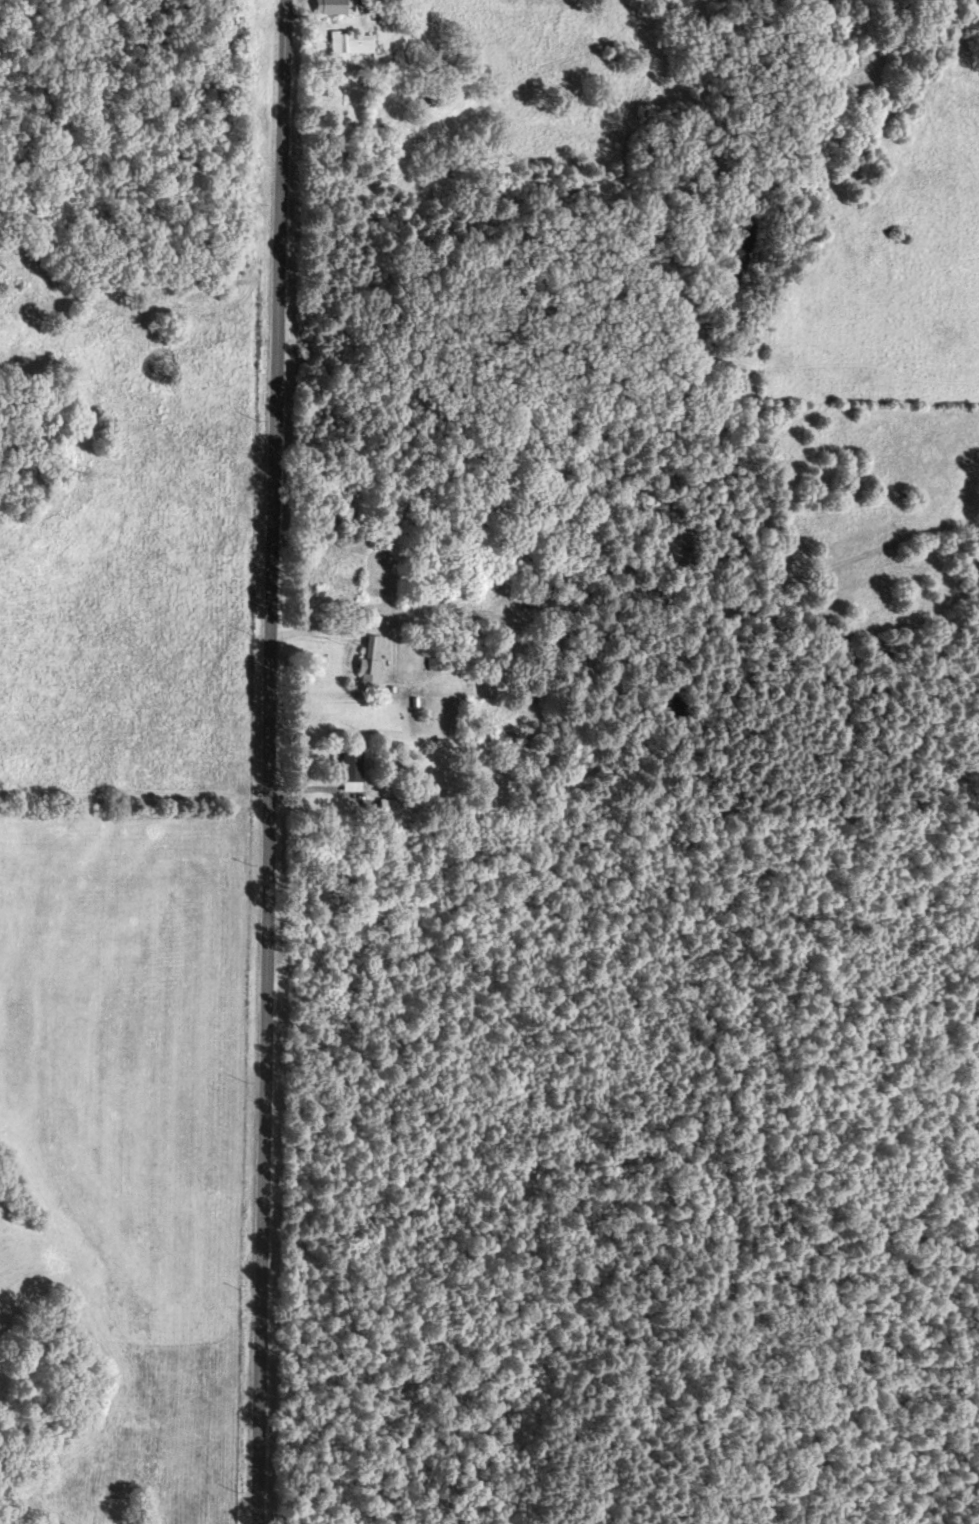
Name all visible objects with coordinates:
building: (335, 6)
building: (353, 43)
building: (373, 660)
road: (271, 762)
building: (353, 770)

